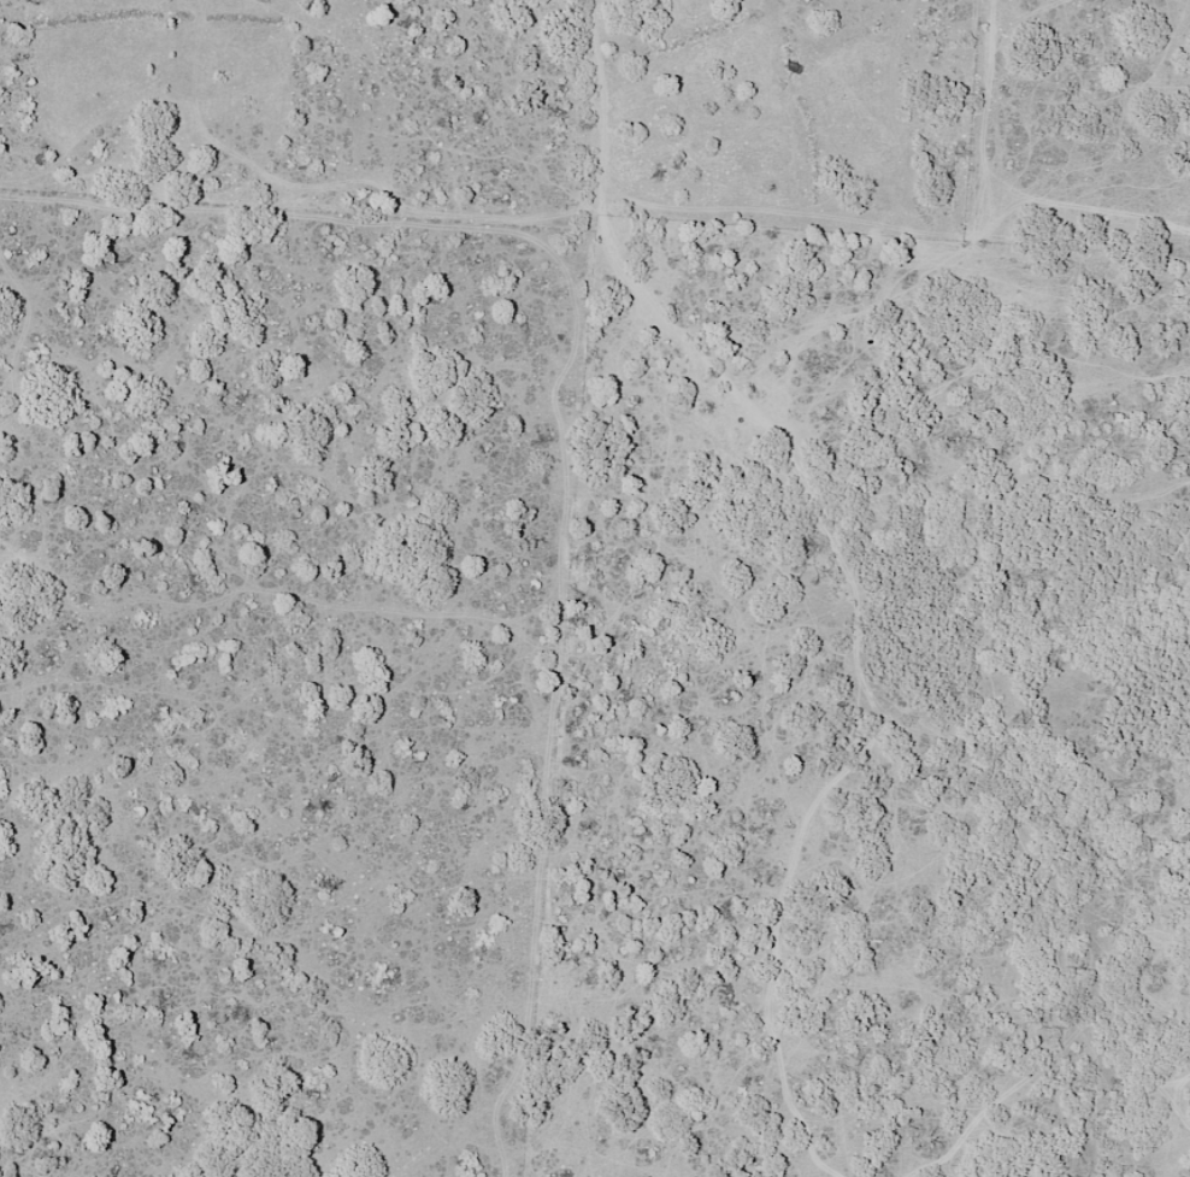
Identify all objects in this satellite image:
road: (599, 108)
road: (289, 194)
road: (575, 719)

